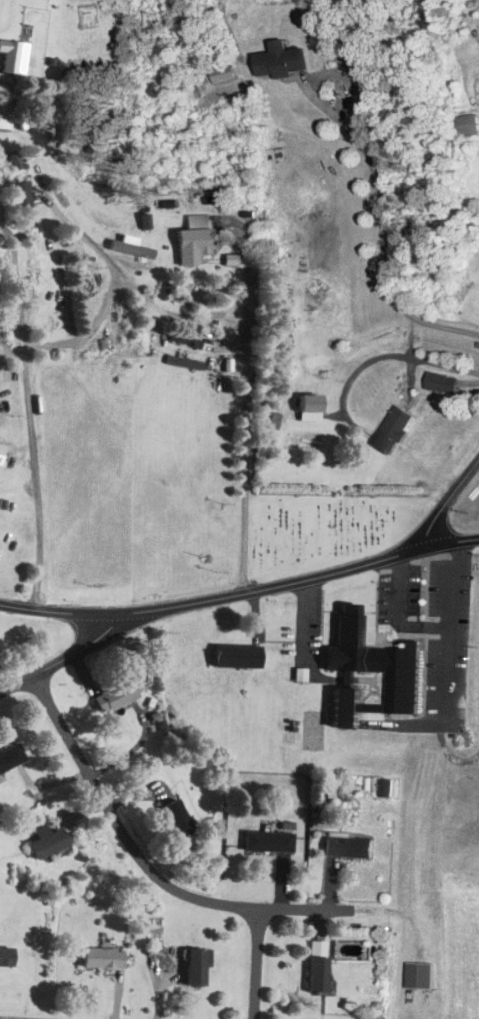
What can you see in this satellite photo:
building: (11, 57)
building: (283, 61)
building: (4, 120)
building: (468, 126)
building: (22, 195)
road: (382, 225)
building: (197, 238)
road: (96, 249)
building: (36, 264)
road: (19, 291)
road: (173, 313)
road: (390, 355)
building: (439, 384)
road: (247, 404)
building: (311, 409)
building: (395, 432)
road: (34, 466)
road: (446, 502)
road: (451, 543)
road: (400, 583)
road: (268, 588)
road: (54, 611)
road: (457, 624)
building: (238, 657)
road: (61, 659)
building: (372, 673)
building: (114, 697)
road: (443, 746)
building: (11, 759)
building: (177, 817)
building: (270, 841)
building: (48, 842)
building: (350, 846)
road: (155, 878)
building: (6, 955)
building: (103, 958)
road: (255, 964)
building: (198, 967)
building: (318, 974)
building: (420, 975)

